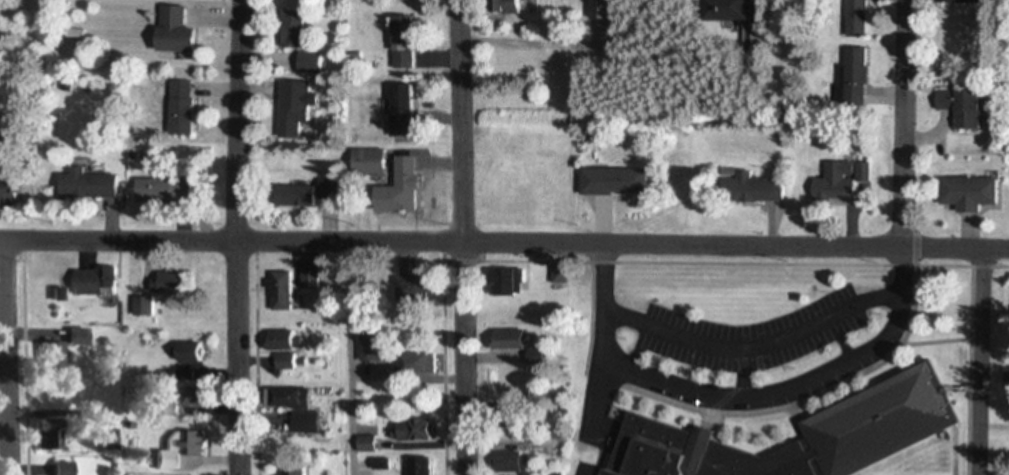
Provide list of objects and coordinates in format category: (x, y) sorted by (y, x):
building: (972, 3)
building: (519, 7)
building: (731, 10)
building: (859, 19)
building: (179, 30)
building: (295, 30)
park: (27, 37)
building: (405, 43)
building: (311, 63)
building: (512, 68)
building: (853, 79)
building: (184, 108)
building: (296, 108)
building: (966, 109)
building: (405, 113)
road: (903, 124)
building: (394, 173)
building: (620, 181)
building: (90, 185)
building: (836, 186)
building: (756, 188)
building: (13, 190)
building: (166, 191)
building: (972, 193)
building: (299, 195)
road: (233, 237)
road: (461, 237)
road: (504, 241)
road: (915, 249)
road: (459, 263)
road: (744, 264)
building: (518, 281)
building: (284, 288)
parking lot: (747, 335)
building: (512, 340)
building: (284, 342)
road: (754, 347)
building: (370, 349)
road: (12, 355)
road: (347, 357)
road: (980, 362)
building: (419, 363)
road: (440, 369)
road: (966, 370)
building: (518, 385)
road: (806, 399)
road: (735, 400)
building: (305, 408)
building: (887, 416)
building: (414, 430)
building: (184, 440)
building: (525, 440)
building: (513, 463)
building: (422, 467)
building: (67, 468)
building: (296, 472)

